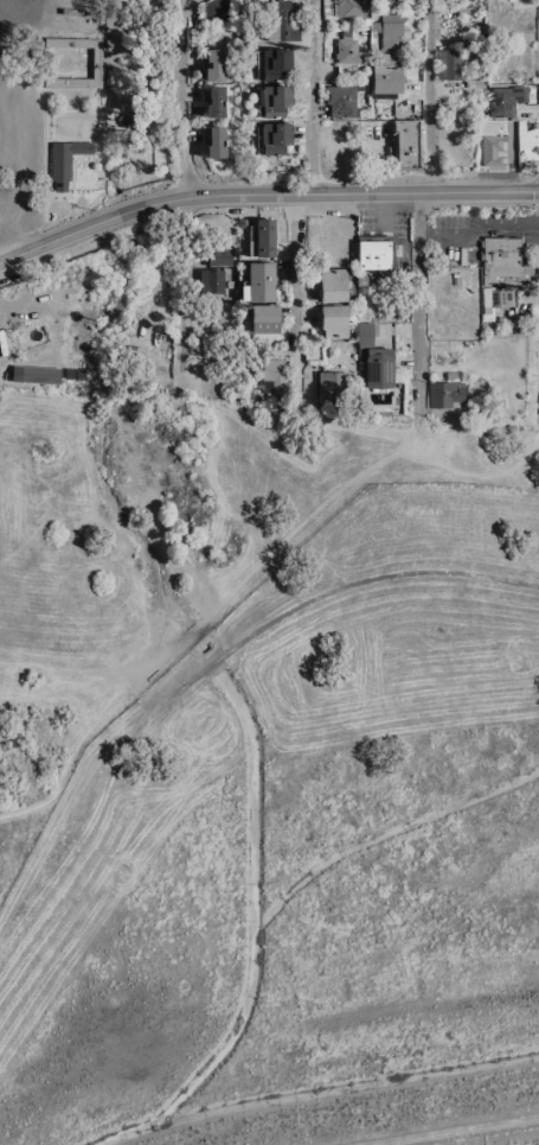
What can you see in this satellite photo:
building: (396, 0)
building: (351, 7)
building: (501, 17)
building: (283, 23)
building: (391, 28)
building: (347, 50)
building: (385, 57)
building: (97, 61)
building: (275, 62)
building: (214, 63)
building: (449, 63)
building: (500, 71)
building: (386, 78)
building: (213, 98)
building: (275, 98)
building: (341, 98)
building: (507, 98)
building: (275, 135)
building: (528, 139)
building: (213, 140)
building: (406, 144)
building: (493, 147)
building: (66, 159)
road: (535, 174)
road: (185, 183)
road: (263, 195)
road: (306, 199)
road: (534, 204)
road: (385, 210)
road: (422, 210)
road: (445, 229)
parking lot: (389, 230)
parking lot: (477, 233)
building: (263, 237)
road: (2, 250)
building: (374, 250)
building: (220, 255)
building: (501, 255)
building: (461, 279)
building: (211, 280)
building: (259, 281)
building: (333, 284)
building: (498, 297)
building: (263, 317)
building: (334, 319)
building: (365, 333)
building: (313, 349)
building: (378, 367)
building: (38, 373)
building: (274, 373)
building: (75, 375)
building: (331, 382)
building: (445, 393)
road: (419, 435)
road: (207, 670)
road: (454, 1131)

